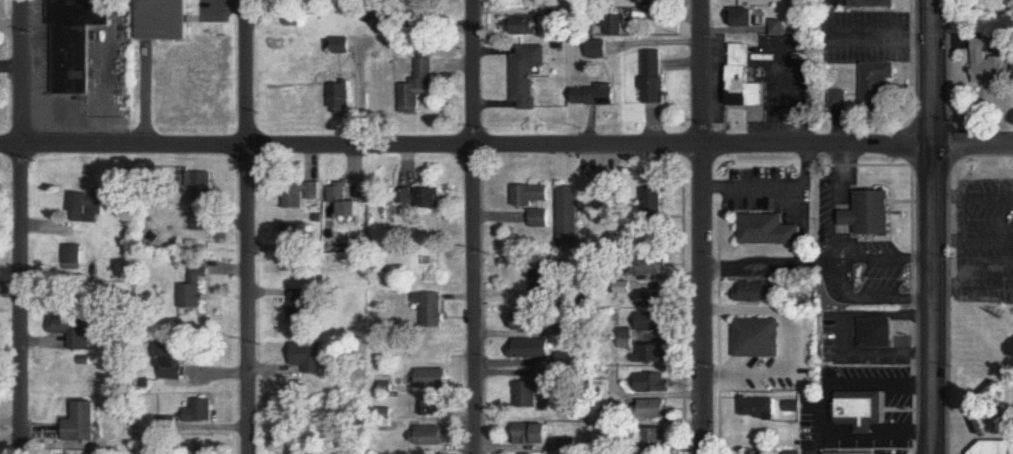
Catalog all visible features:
building: (648, 3)
building: (872, 4)
building: (558, 10)
building: (748, 18)
building: (167, 20)
building: (530, 26)
building: (618, 26)
building: (778, 28)
building: (73, 46)
building: (598, 50)
building: (986, 65)
building: (528, 75)
building: (654, 78)
building: (743, 79)
building: (876, 86)
building: (419, 87)
building: (598, 97)
building: (342, 98)
road: (506, 151)
road: (767, 184)
building: (204, 187)
building: (302, 195)
building: (426, 198)
building: (341, 202)
building: (656, 203)
road: (839, 203)
building: (535, 204)
building: (89, 207)
building: (870, 214)
building: (568, 218)
building: (208, 222)
road: (21, 226)
road: (932, 226)
road: (248, 227)
road: (475, 227)
road: (703, 227)
building: (770, 230)
building: (297, 234)
road: (886, 256)
building: (72, 258)
road: (772, 262)
building: (653, 267)
building: (541, 285)
building: (193, 291)
building: (763, 292)
building: (655, 299)
road: (868, 299)
road: (773, 305)
building: (300, 306)
building: (432, 309)
building: (524, 321)
building: (656, 323)
building: (75, 328)
building: (876, 333)
building: (761, 338)
building: (531, 349)
building: (653, 353)
building: (311, 357)
building: (564, 359)
building: (174, 364)
road: (748, 365)
building: (433, 379)
building: (657, 383)
road: (880, 383)
building: (530, 392)
building: (436, 406)
building: (761, 408)
building: (658, 409)
building: (862, 410)
building: (201, 411)
building: (83, 425)
building: (532, 435)
road: (856, 436)
building: (434, 437)
building: (663, 438)
building: (991, 448)
building: (198, 449)
building: (761, 453)
building: (796, 453)
building: (844, 453)

